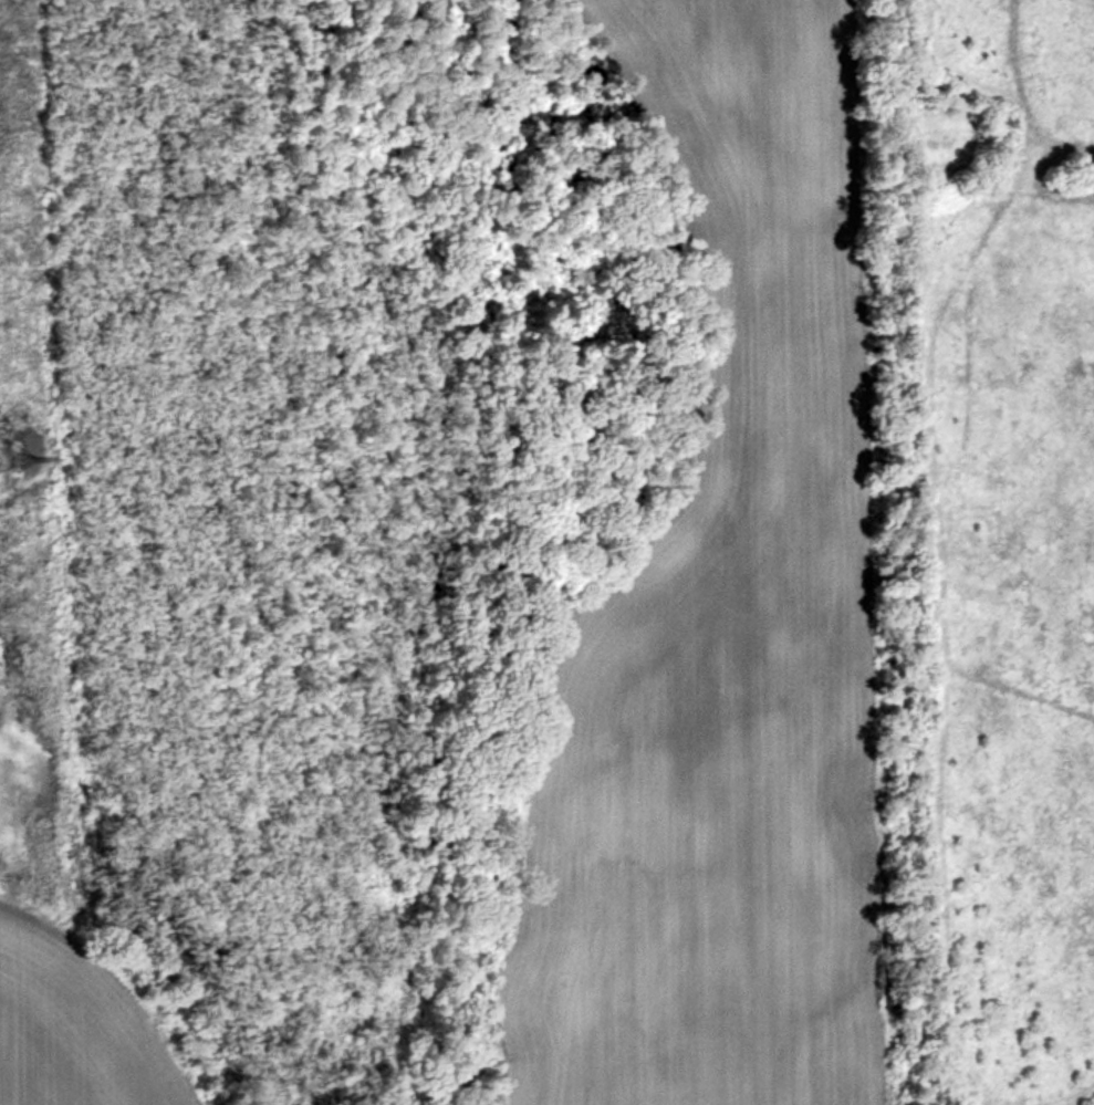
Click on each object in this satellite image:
power tower: (12, 459)

